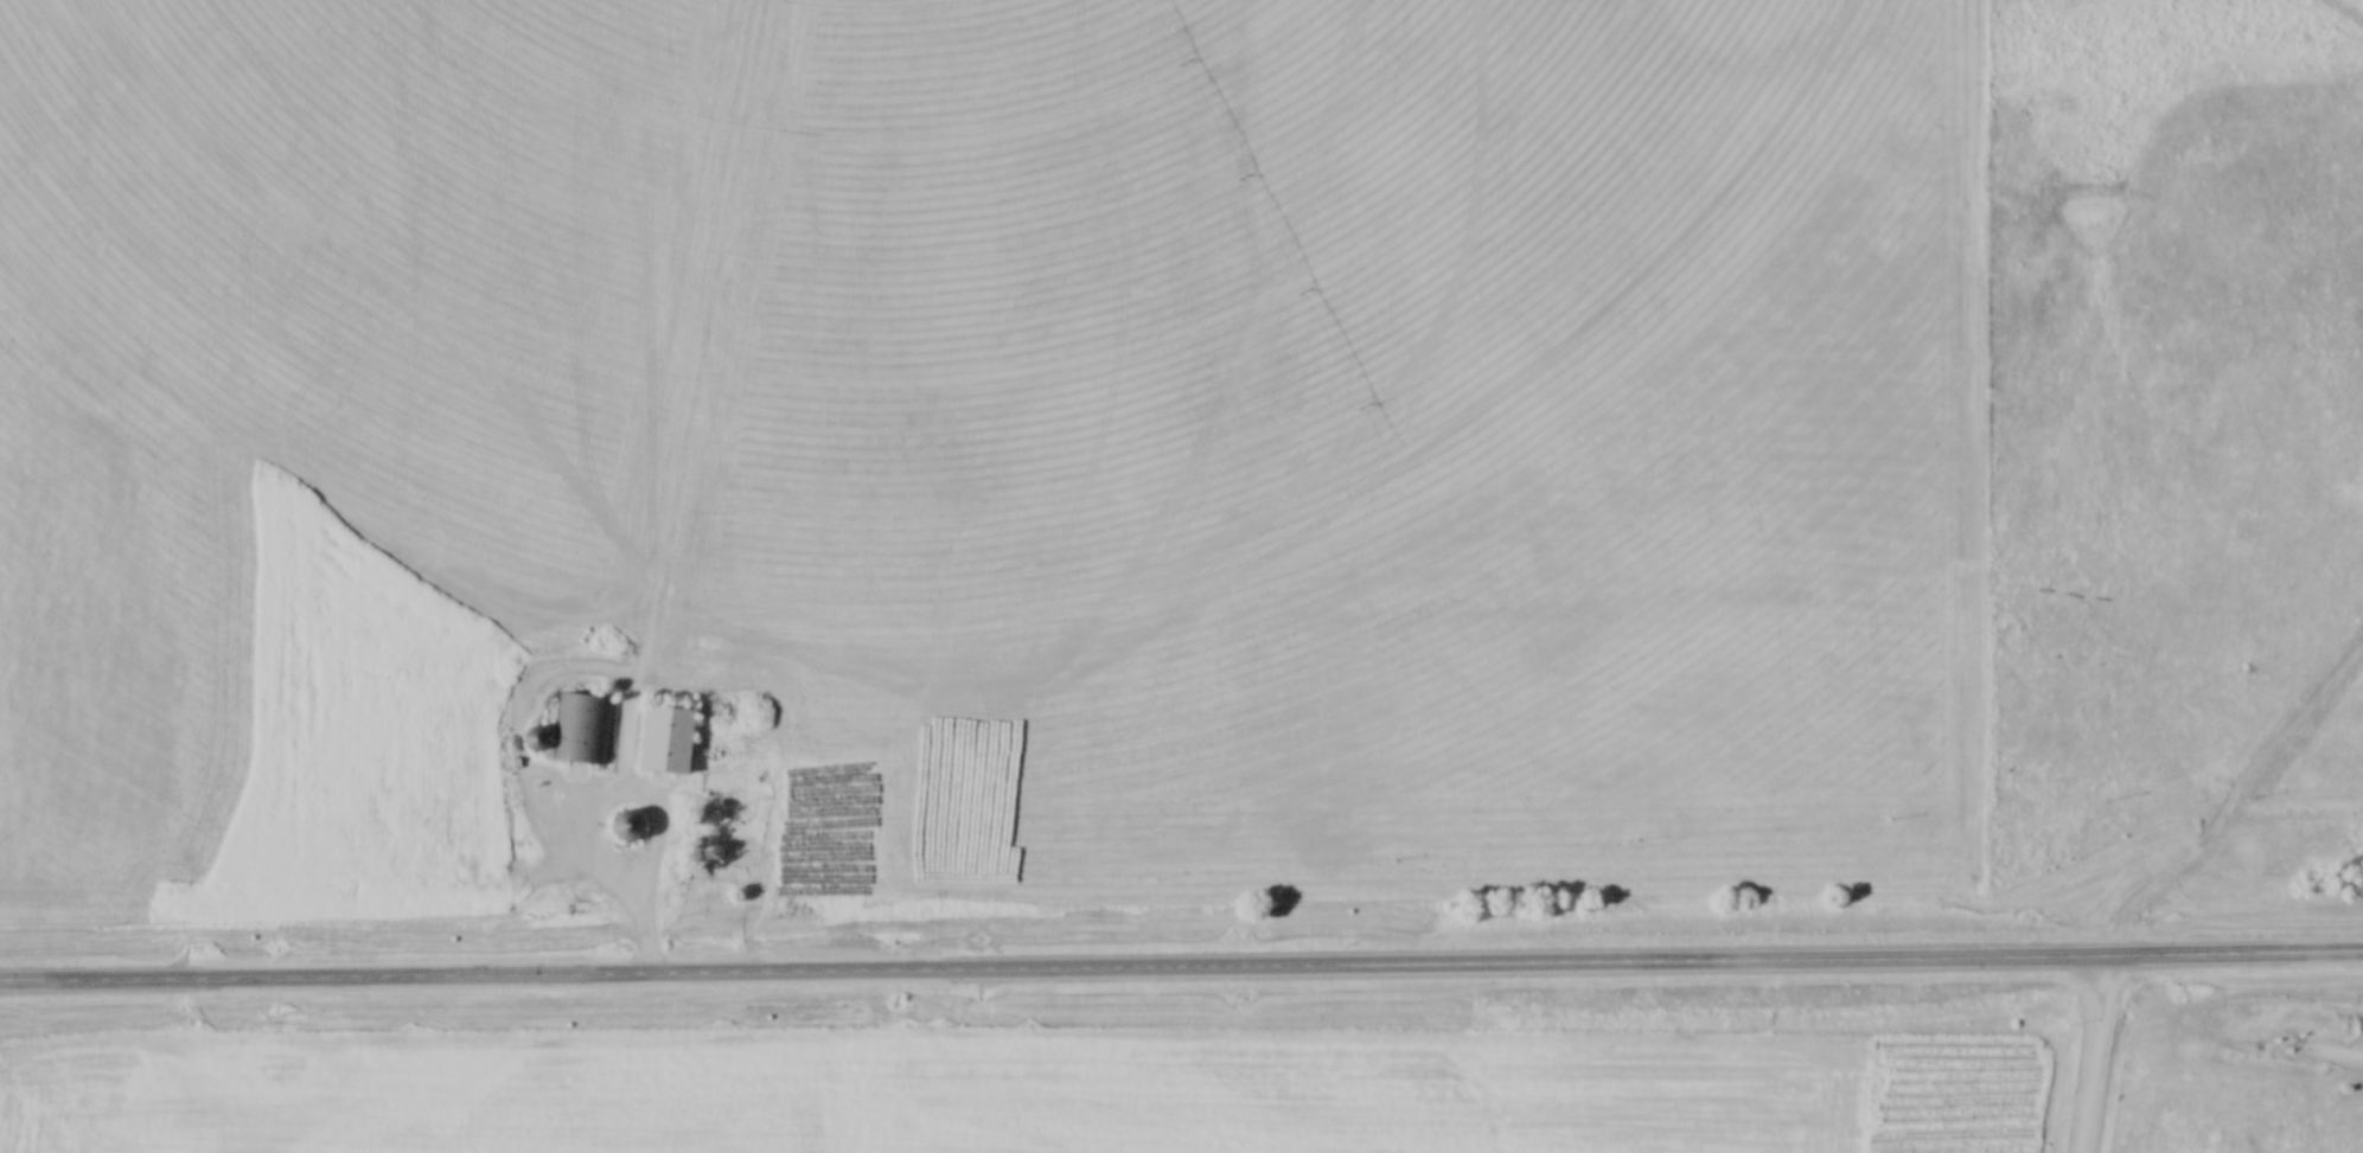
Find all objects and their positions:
building: (585, 731)
building: (666, 741)
road: (646, 801)
building: (631, 826)
road: (651, 940)
road: (1181, 973)
road: (2095, 1057)

